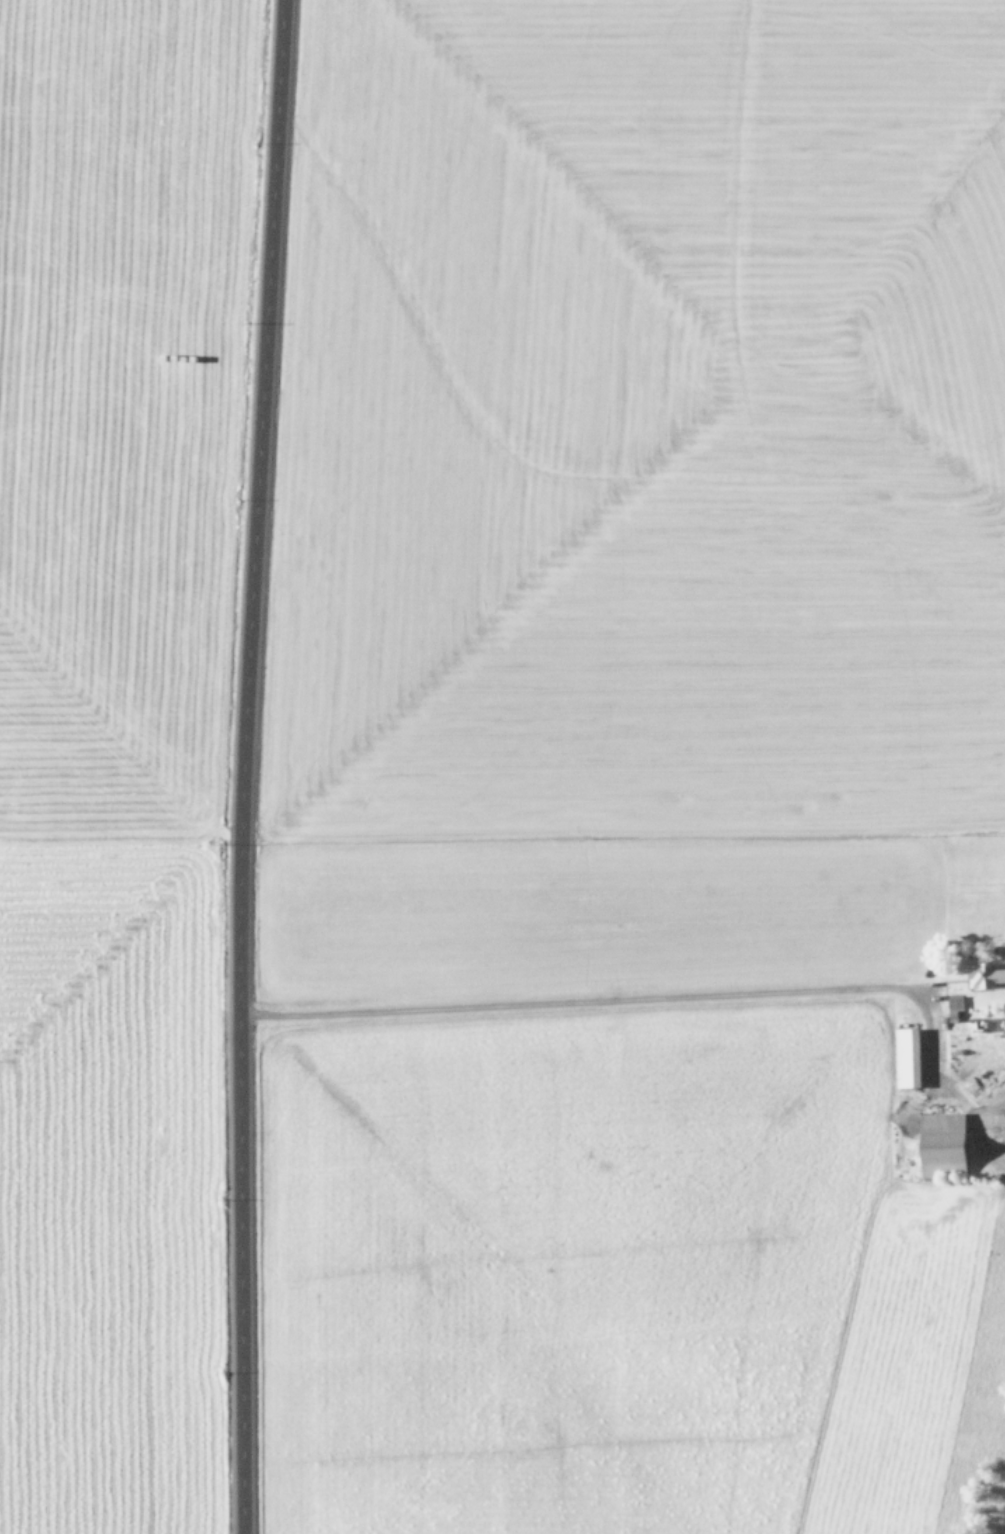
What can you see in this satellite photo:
crop: (109, 737)
road: (252, 766)
crop: (654, 777)
building: (983, 974)
building: (904, 1058)
road: (623, 1061)

